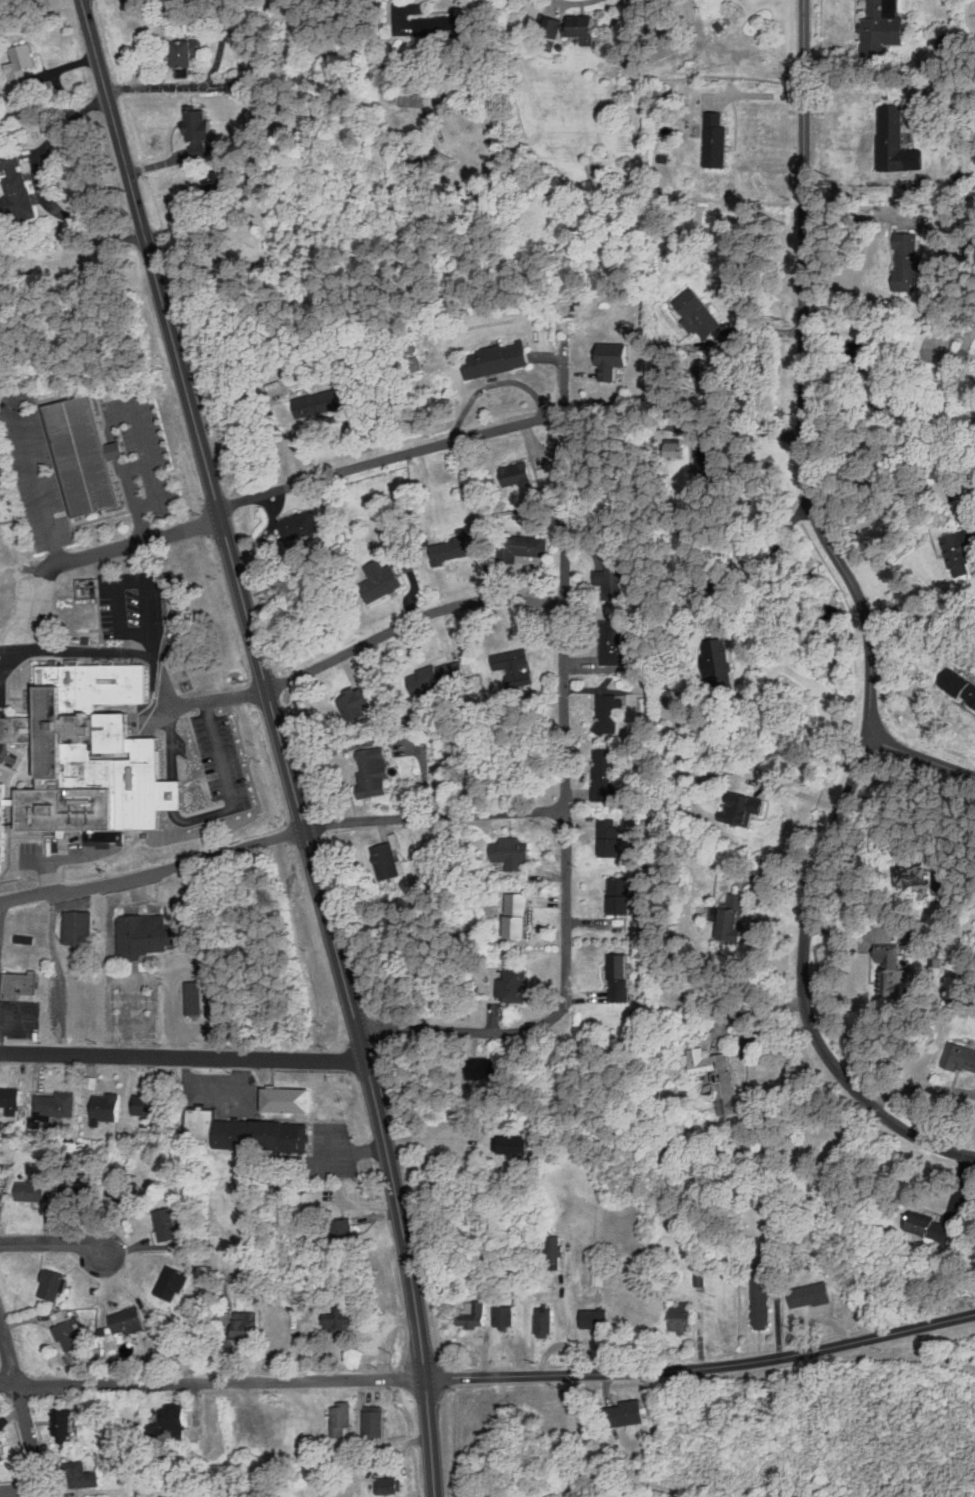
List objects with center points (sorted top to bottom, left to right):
building: (881, 8)
building: (554, 26)
building: (716, 26)
building: (447, 27)
building: (585, 27)
building: (877, 34)
building: (945, 47)
building: (190, 53)
building: (22, 66)
road: (874, 82)
building: (238, 85)
road: (201, 86)
building: (411, 100)
building: (200, 125)
building: (888, 139)
building: (719, 147)
building: (12, 162)
building: (16, 183)
building: (220, 198)
building: (17, 207)
road: (866, 215)
building: (903, 263)
building: (696, 315)
building: (492, 358)
building: (617, 364)
road: (801, 378)
building: (321, 402)
road: (898, 407)
road: (111, 432)
building: (86, 445)
road: (391, 455)
building: (520, 474)
road: (37, 478)
road: (156, 501)
road: (887, 510)
building: (301, 524)
road: (130, 543)
building: (534, 545)
road: (732, 548)
building: (451, 549)
building: (962, 556)
building: (614, 578)
building: (381, 579)
road: (132, 582)
road: (32, 612)
building: (77, 617)
road: (410, 622)
building: (619, 644)
road: (8, 651)
road: (85, 651)
building: (513, 658)
road: (8, 660)
building: (721, 661)
building: (440, 676)
road: (565, 683)
building: (955, 684)
building: (113, 685)
road: (186, 702)
building: (357, 703)
building: (610, 713)
building: (21, 729)
building: (63, 729)
building: (117, 732)
road: (282, 743)
building: (93, 749)
road: (921, 758)
building: (608, 768)
building: (375, 772)
building: (126, 781)
building: (54, 782)
building: (174, 794)
building: (603, 794)
building: (15, 801)
building: (71, 808)
building: (744, 809)
road: (434, 814)
road: (209, 815)
building: (3, 826)
building: (613, 838)
building: (513, 851)
building: (389, 860)
road: (154, 872)
building: (907, 875)
building: (941, 881)
building: (621, 887)
building: (648, 888)
building: (624, 905)
building: (732, 915)
building: (520, 916)
building: (78, 926)
building: (145, 936)
building: (917, 944)
building: (622, 966)
road: (109, 968)
building: (888, 971)
road: (59, 972)
building: (21, 985)
building: (516, 985)
road: (802, 988)
building: (623, 990)
building: (195, 998)
road: (155, 1000)
building: (642, 1013)
road: (460, 1030)
road: (182, 1056)
building: (959, 1060)
building: (706, 1061)
building: (486, 1068)
road: (214, 1087)
road: (920, 1087)
building: (729, 1095)
building: (11, 1100)
building: (290, 1101)
building: (58, 1106)
building: (152, 1106)
building: (109, 1107)
building: (37, 1122)
building: (204, 1123)
building: (236, 1135)
building: (282, 1137)
building: (441, 1137)
building: (0, 1182)
building: (125, 1190)
building: (33, 1191)
building: (74, 1195)
building: (167, 1222)
building: (926, 1228)
building: (348, 1234)
road: (52, 1243)
building: (557, 1250)
building: (703, 1276)
building: (600, 1277)
building: (174, 1283)
building: (53, 1284)
building: (815, 1292)
building: (764, 1299)
building: (475, 1313)
building: (506, 1314)
building: (684, 1316)
building: (344, 1317)
building: (597, 1317)
building: (546, 1320)
building: (129, 1322)
building: (248, 1326)
building: (69, 1330)
road: (7, 1358)
road: (490, 1373)
building: (629, 1412)
building: (343, 1417)
building: (174, 1418)
building: (554, 1419)
building: (4, 1421)
building: (65, 1423)
building: (376, 1423)
building: (261, 1426)
building: (155, 1427)
road: (570, 1434)
road: (30, 1440)
building: (3, 1450)
building: (83, 1474)
building: (390, 1484)
road: (21, 1488)
building: (714, 1493)
building: (167, 1496)

